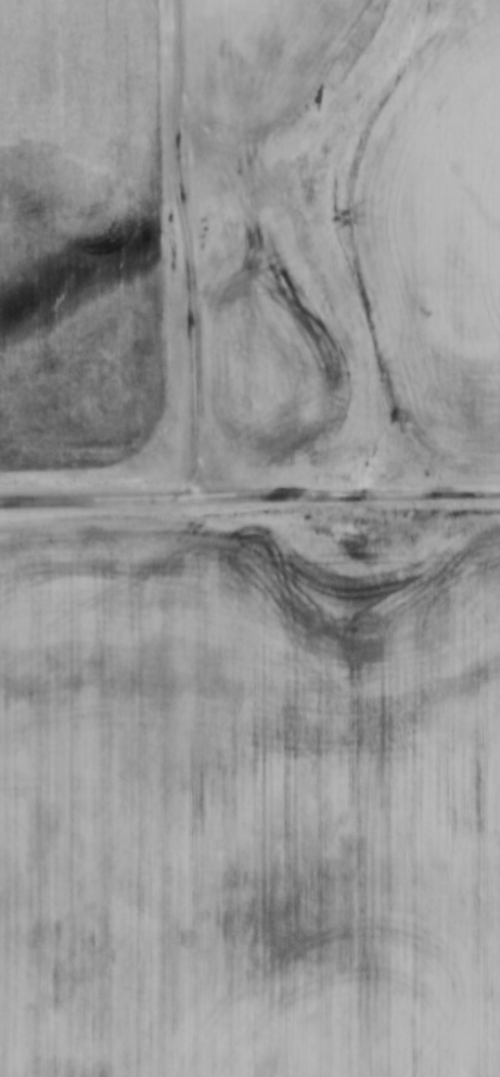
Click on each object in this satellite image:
road: (190, 251)
road: (249, 498)

